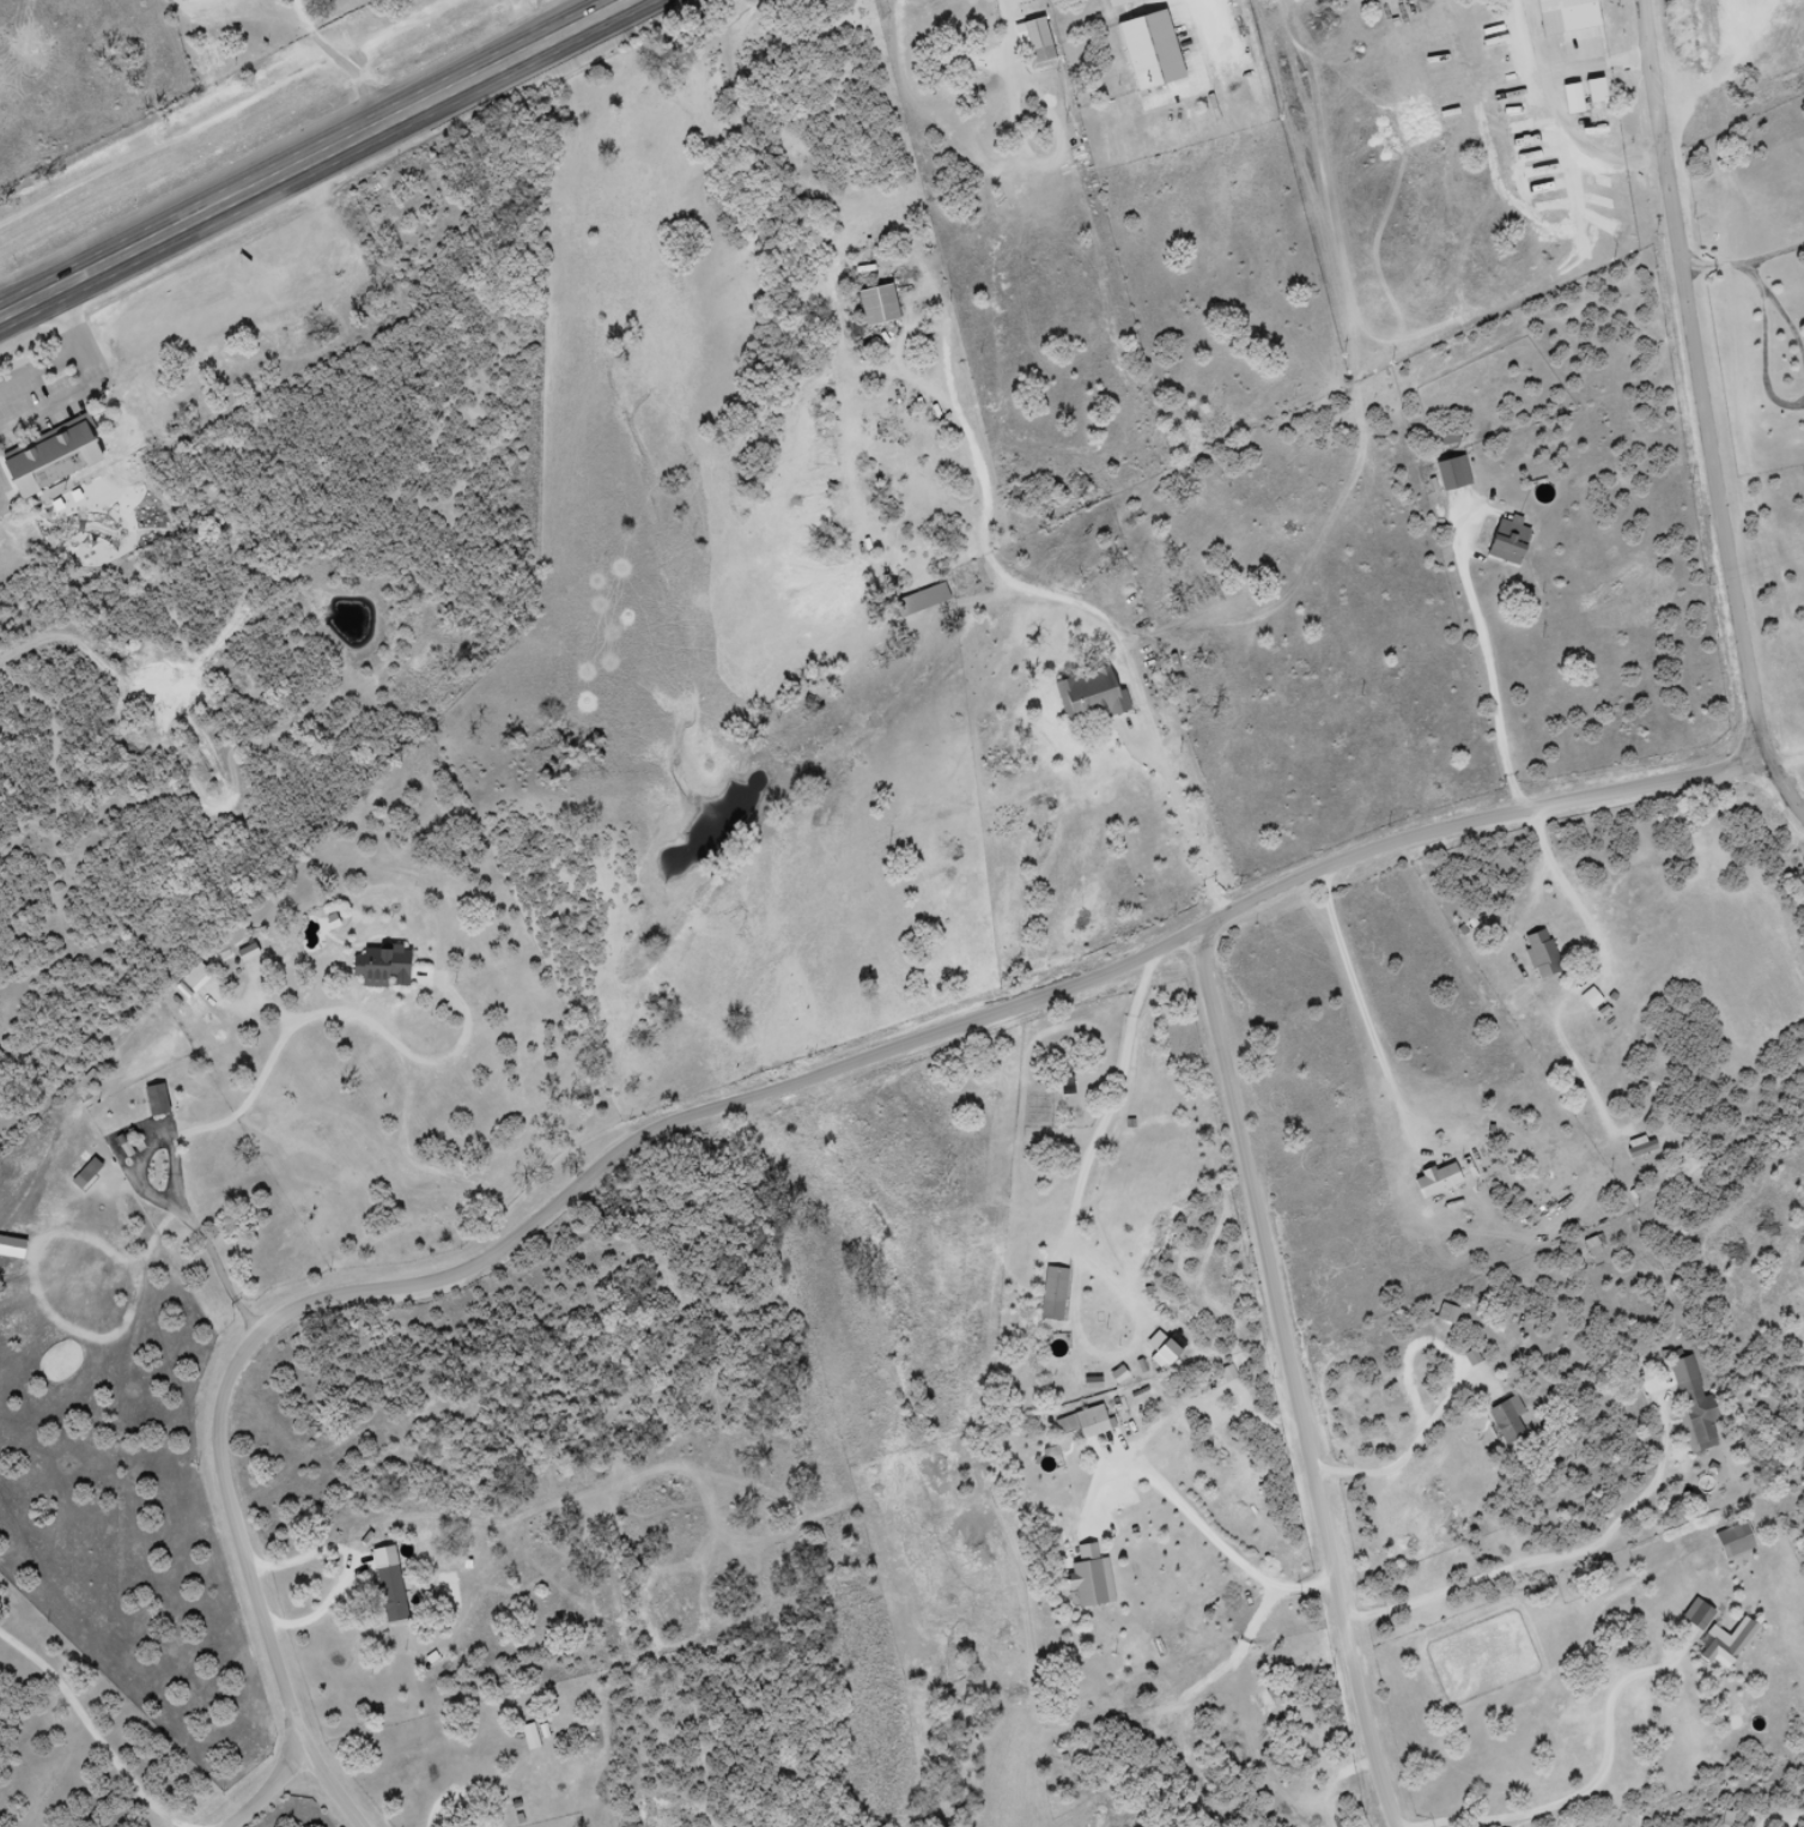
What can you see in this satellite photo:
building: (1118, 1)
building: (1132, 4)
building: (1574, 20)
building: (1035, 43)
building: (1047, 47)
building: (1160, 59)
building: (1780, 74)
building: (1590, 90)
building: (1604, 99)
road: (315, 160)
building: (874, 305)
road: (87, 377)
road: (1702, 411)
building: (1446, 438)
building: (56, 461)
building: (1450, 474)
building: (1505, 542)
building: (919, 600)
building: (1087, 697)
road: (1787, 759)
road: (1478, 818)
building: (1538, 954)
building: (184, 1020)
building: (152, 1100)
building: (85, 1172)
building: (1434, 1182)
road: (491, 1251)
building: (1051, 1294)
road: (1301, 1378)
building: (1690, 1406)
building: (1505, 1421)
building: (1085, 1422)
building: (1217, 1449)
building: (1731, 1542)
building: (1695, 1616)
building: (1724, 1644)
road: (86, 1734)
building: (532, 1736)
road: (273, 1793)

